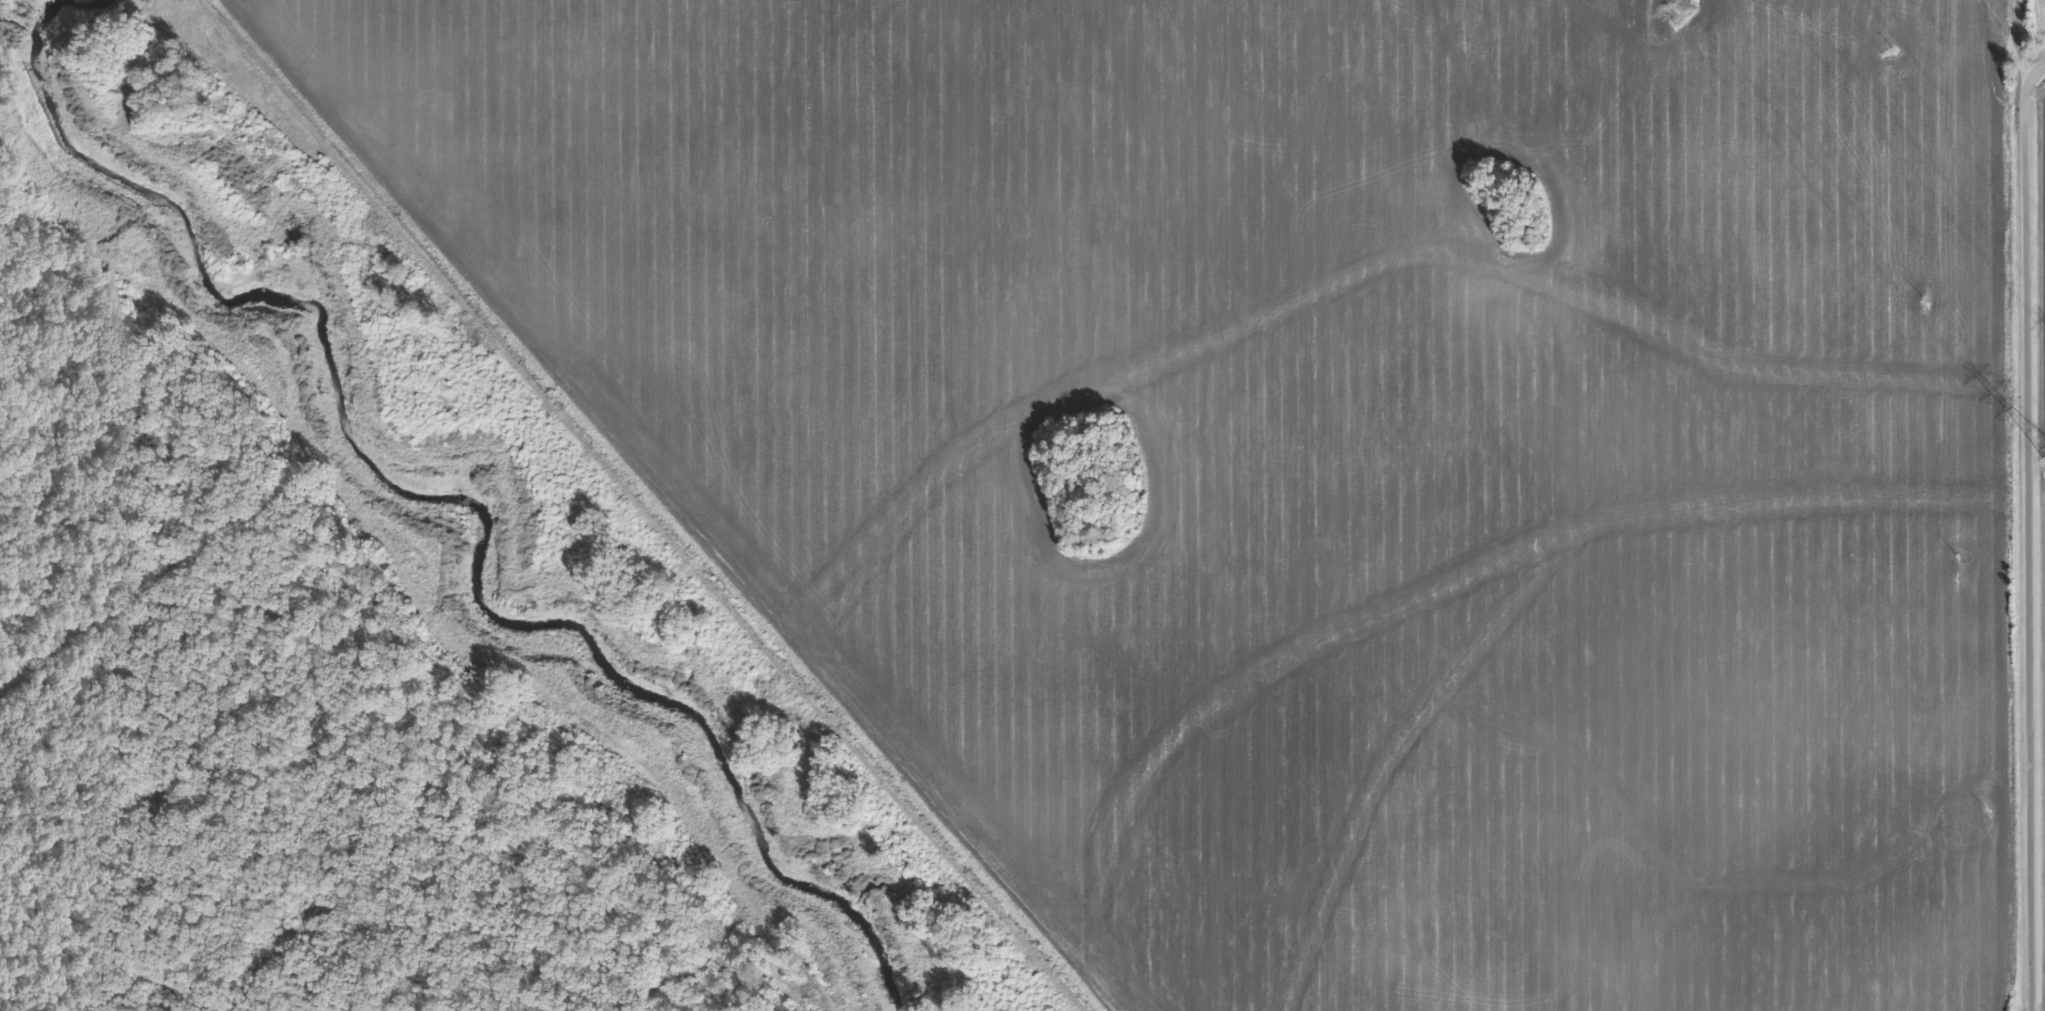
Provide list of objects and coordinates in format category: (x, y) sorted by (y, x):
power tower: (1684, 7)
road: (2031, 533)

